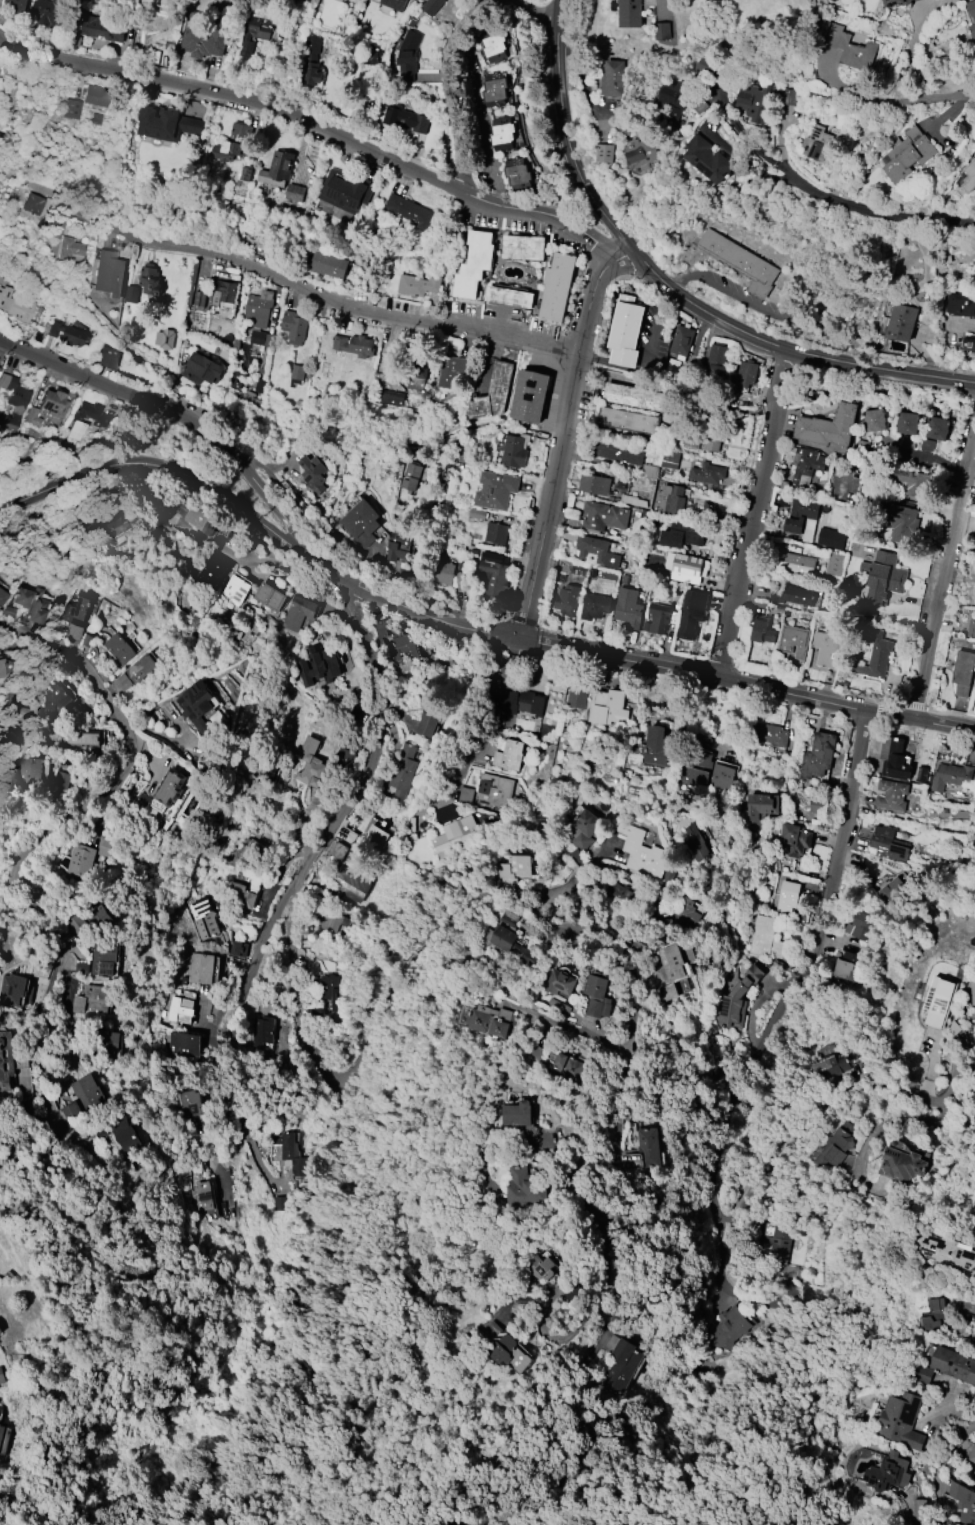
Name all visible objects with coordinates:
building: (899, 2)
building: (394, 4)
building: (17, 6)
building: (431, 6)
road: (662, 7)
building: (971, 8)
road: (537, 10)
building: (51, 12)
building: (630, 13)
building: (972, 29)
building: (101, 30)
building: (255, 33)
building: (199, 39)
building: (845, 45)
building: (492, 46)
building: (407, 55)
building: (313, 63)
road: (912, 66)
building: (614, 78)
road: (448, 86)
building: (495, 89)
building: (94, 96)
building: (788, 97)
building: (674, 98)
road: (878, 99)
building: (755, 101)
building: (71, 108)
road: (481, 116)
building: (406, 119)
building: (166, 124)
road: (317, 125)
building: (502, 134)
building: (234, 142)
building: (818, 143)
building: (641, 152)
building: (604, 153)
building: (906, 153)
building: (707, 159)
building: (278, 169)
building: (517, 174)
building: (969, 179)
building: (345, 191)
building: (295, 193)
road: (842, 202)
building: (32, 204)
building: (409, 210)
road: (605, 217)
building: (56, 229)
building: (524, 247)
building: (69, 250)
building: (739, 261)
building: (475, 264)
building: (328, 265)
building: (108, 273)
building: (150, 280)
road: (286, 282)
building: (418, 285)
building: (557, 288)
building: (131, 294)
building: (223, 294)
building: (510, 297)
building: (960, 304)
building: (14, 305)
building: (258, 314)
building: (900, 322)
building: (294, 327)
building: (625, 332)
building: (66, 333)
building: (164, 339)
building: (681, 341)
building: (969, 343)
building: (354, 345)
building: (108, 357)
building: (716, 365)
road: (880, 368)
building: (202, 369)
road: (635, 369)
building: (451, 371)
building: (417, 372)
building: (746, 373)
building: (297, 375)
building: (259, 385)
building: (494, 393)
building: (531, 396)
building: (389, 397)
building: (637, 397)
building: (12, 401)
building: (52, 403)
building: (33, 416)
building: (629, 420)
building: (874, 420)
building: (102, 421)
building: (907, 423)
building: (829, 427)
building: (937, 428)
road: (561, 435)
building: (702, 441)
building: (515, 450)
building: (619, 452)
building: (670, 459)
building: (806, 465)
building: (649, 471)
building: (707, 473)
road: (184, 475)
building: (312, 475)
building: (411, 476)
building: (910, 482)
building: (594, 484)
building: (495, 490)
building: (669, 500)
building: (632, 501)
building: (477, 514)
road: (752, 515)
building: (604, 516)
building: (802, 518)
building: (202, 520)
building: (362, 522)
building: (102, 523)
building: (903, 524)
building: (496, 533)
building: (683, 535)
building: (831, 538)
building: (397, 546)
building: (596, 551)
building: (795, 564)
building: (835, 564)
building: (686, 567)
building: (443, 572)
building: (210, 574)
building: (492, 574)
building: (884, 578)
road: (947, 581)
building: (236, 590)
building: (2, 595)
building: (792, 595)
building: (269, 597)
building: (974, 598)
building: (566, 600)
building: (30, 604)
building: (595, 606)
building: (628, 608)
building: (77, 610)
building: (298, 612)
building: (691, 612)
road: (448, 615)
building: (657, 618)
building: (971, 627)
building: (380, 630)
building: (762, 631)
building: (74, 632)
building: (793, 641)
building: (402, 646)
building: (119, 649)
building: (826, 649)
building: (874, 655)
building: (319, 666)
building: (141, 668)
building: (1, 669)
building: (963, 672)
road: (490, 695)
building: (575, 696)
building: (56, 699)
building: (518, 704)
building: (196, 705)
building: (607, 707)
building: (427, 724)
building: (770, 735)
building: (83, 738)
road: (375, 743)
building: (656, 746)
building: (508, 755)
building: (818, 756)
building: (344, 757)
building: (311, 764)
building: (403, 770)
building: (30, 772)
building: (708, 773)
road: (461, 775)
building: (949, 776)
building: (63, 779)
building: (172, 787)
building: (495, 789)
building: (465, 793)
building: (891, 795)
building: (759, 809)
building: (584, 830)
building: (377, 836)
building: (453, 836)
building: (795, 839)
building: (696, 843)
building: (888, 844)
road: (32, 848)
building: (253, 851)
building: (641, 852)
building: (87, 856)
building: (517, 867)
building: (350, 884)
road: (561, 887)
building: (891, 890)
building: (624, 894)
building: (240, 896)
building: (787, 896)
road: (524, 902)
building: (678, 914)
building: (510, 918)
building: (99, 919)
building: (203, 919)
building: (332, 922)
building: (862, 925)
building: (765, 938)
building: (510, 944)
building: (237, 949)
building: (103, 959)
building: (672, 961)
building: (846, 967)
building: (81, 968)
building: (200, 968)
building: (559, 983)
building: (973, 988)
building: (328, 990)
building: (667, 992)
building: (598, 997)
building: (737, 999)
building: (93, 1000)
building: (941, 1001)
building: (178, 1010)
building: (502, 1021)
road: (570, 1028)
building: (260, 1032)
road: (233, 1037)
building: (108, 1044)
building: (181, 1044)
building: (5, 1060)
building: (567, 1066)
building: (829, 1066)
building: (86, 1093)
building: (188, 1103)
building: (519, 1114)
building: (124, 1133)
building: (647, 1147)
road: (730, 1149)
building: (835, 1149)
building: (290, 1153)
building: (901, 1165)
building: (526, 1187)
building: (200, 1196)
building: (974, 1234)
building: (974, 1236)
building: (945, 1251)
building: (543, 1267)
building: (936, 1304)
building: (727, 1327)
building: (1, 1330)
building: (974, 1332)
building: (974, 1342)
building: (505, 1348)
building: (953, 1364)
building: (619, 1366)
building: (924, 1375)
building: (1, 1376)
building: (901, 1421)
building: (1, 1431)
road: (958, 1441)
building: (972, 1455)
building: (974, 1472)
building: (888, 1473)
building: (974, 1480)
road: (937, 1491)
building: (963, 1502)

